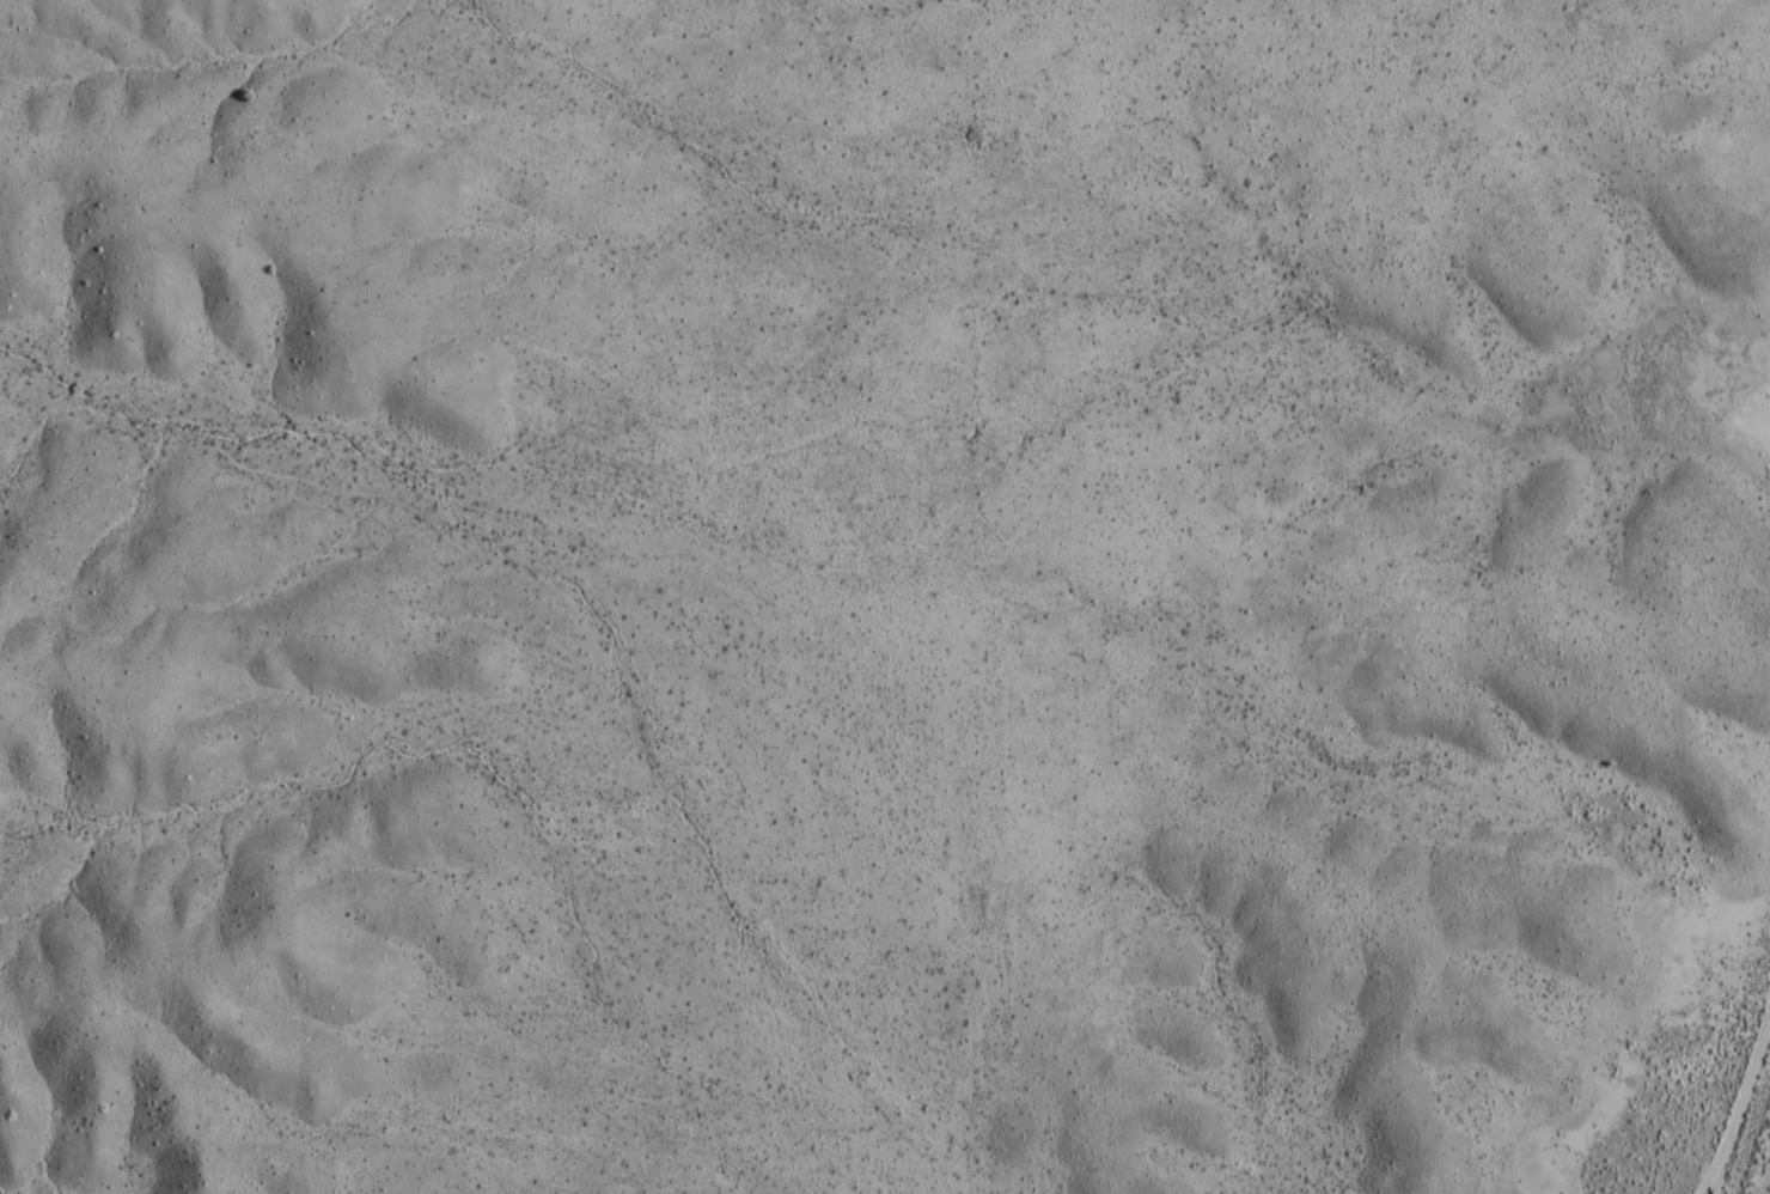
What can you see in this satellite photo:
road: (1737, 1099)

